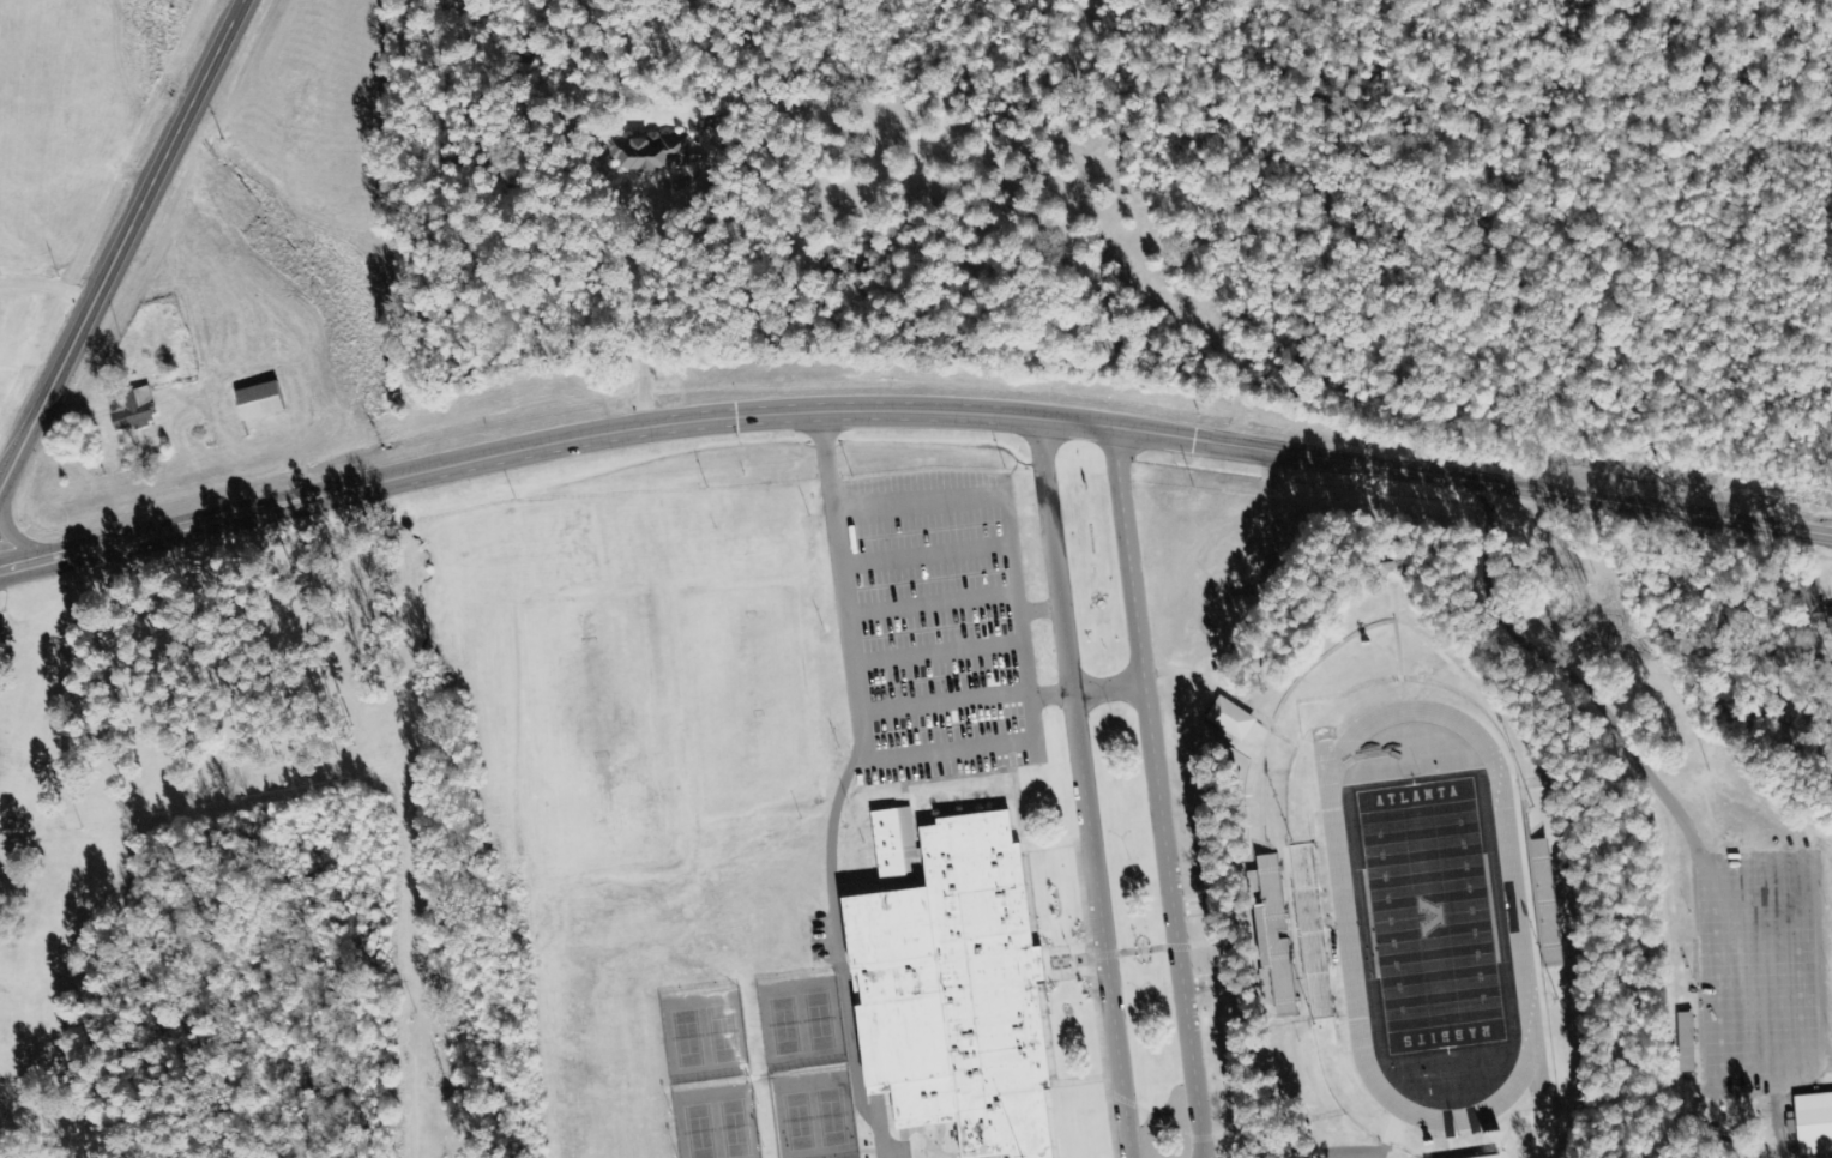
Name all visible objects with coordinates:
building: (652, 152)
road: (123, 248)
building: (260, 402)
building: (134, 410)
road: (911, 412)
road: (920, 506)
road: (16, 538)
road: (926, 555)
building: (1391, 573)
road: (843, 585)
road: (933, 604)
building: (1815, 607)
road: (1042, 610)
road: (1022, 615)
road: (939, 652)
road: (1110, 688)
road: (1051, 696)
road: (946, 704)
building: (1230, 719)
road: (952, 748)
road: (1083, 791)
road: (1161, 794)
building: (894, 843)
stadium: (1403, 877)
building: (1545, 904)
park: (1430, 916)
track: (1344, 917)
building: (1312, 934)
road: (838, 935)
building: (1276, 936)
road: (1140, 952)
building: (957, 995)
park: (820, 1023)
park: (785, 1027)
park: (723, 1036)
park: (688, 1041)
building: (1686, 1043)
park: (832, 1118)
park: (799, 1123)
building: (1814, 1124)
park: (735, 1129)
road: (879, 1130)
park: (700, 1132)
building: (1494, 1157)

